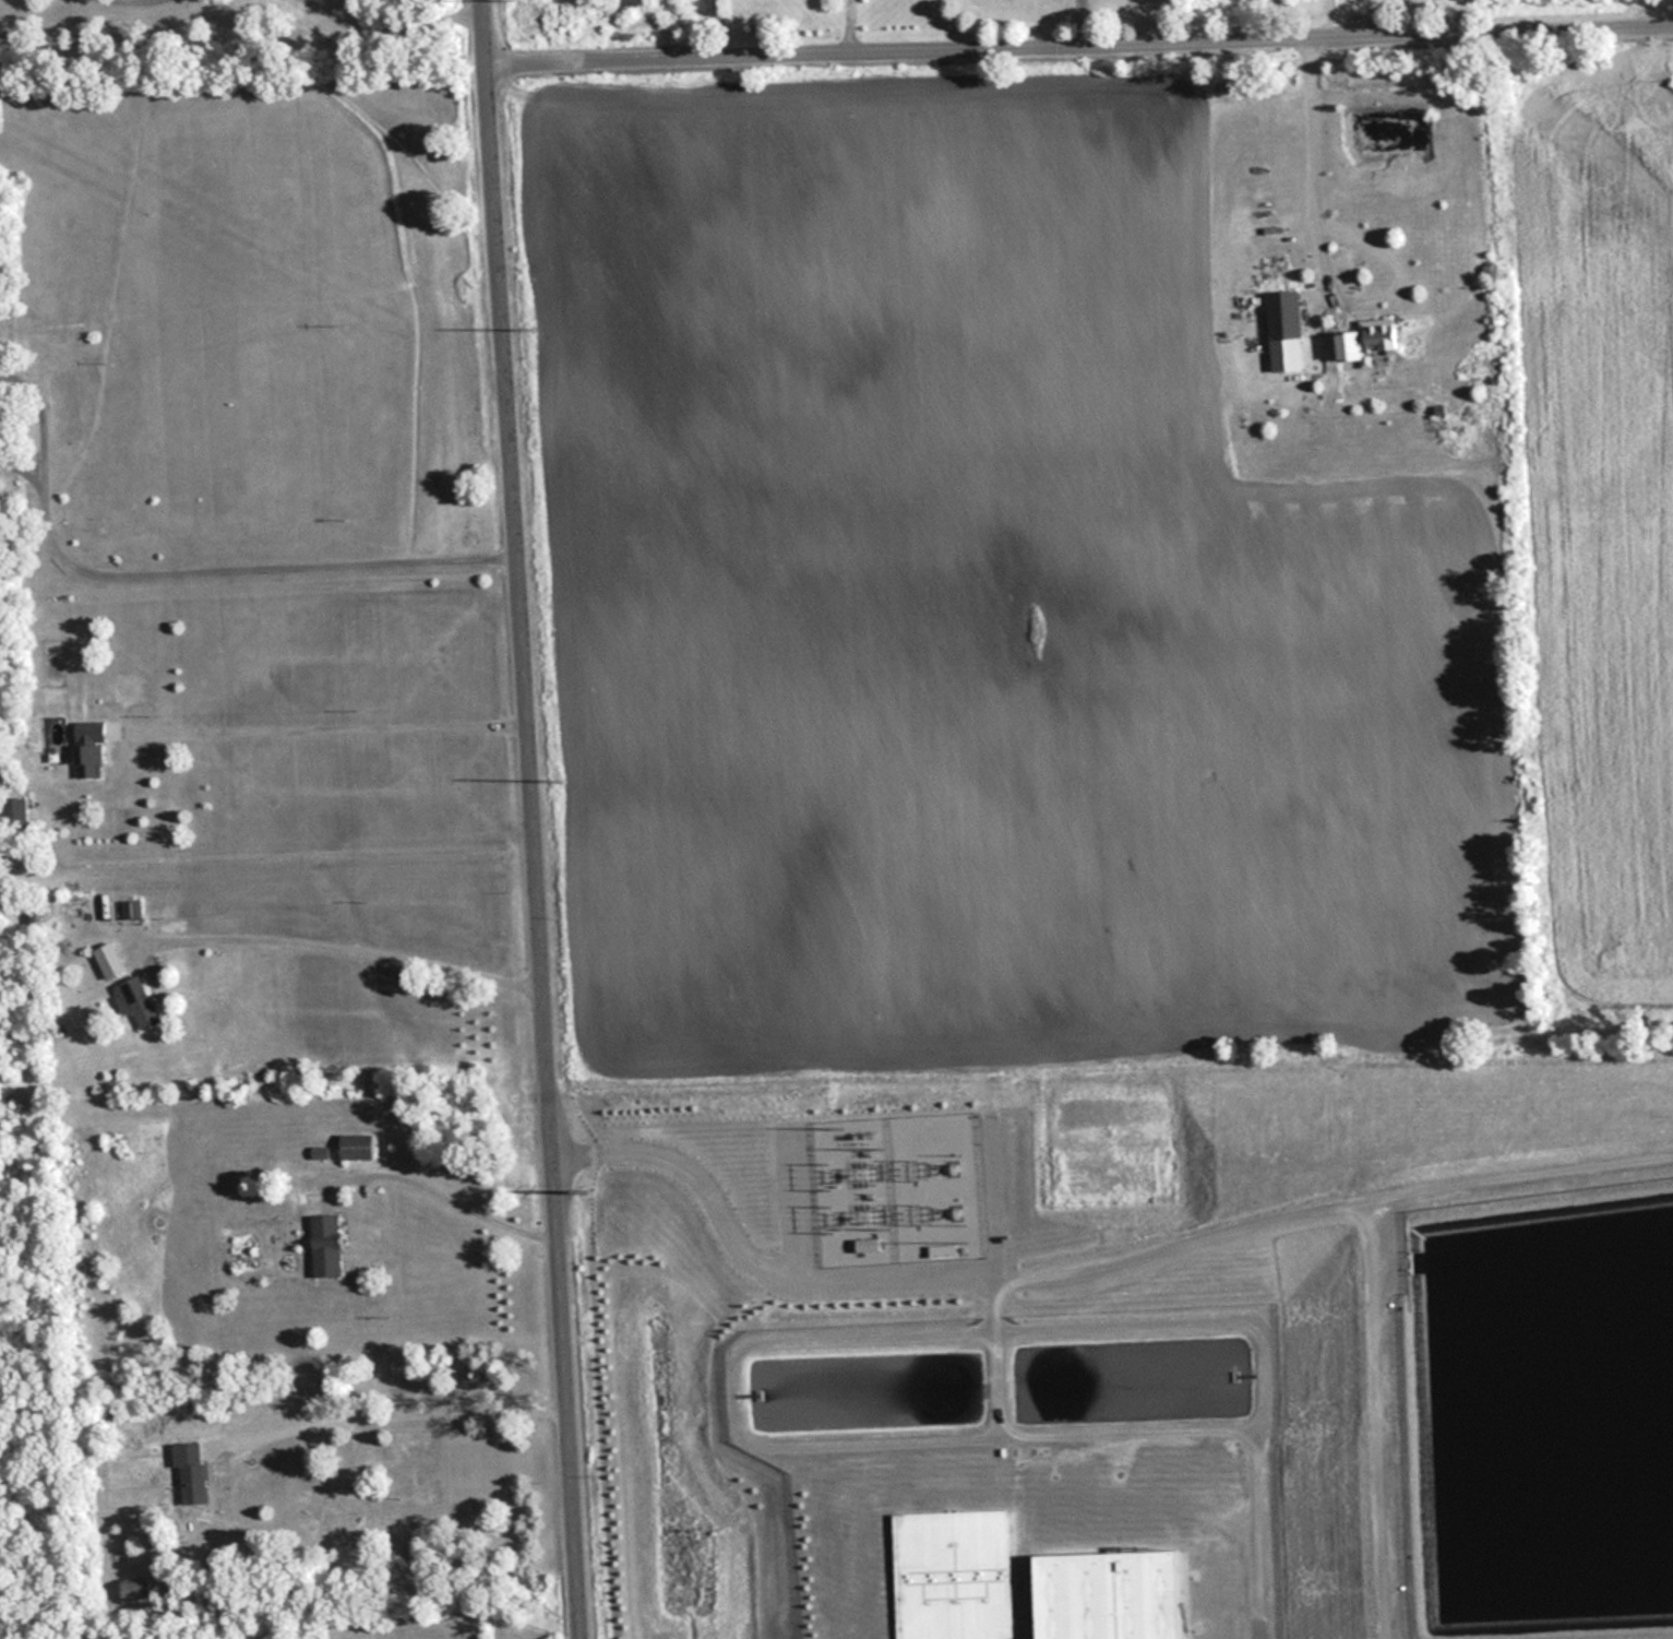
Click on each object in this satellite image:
road: (1651, 5)
road: (1359, 12)
road: (1269, 14)
road: (1079, 35)
road: (1315, 161)
building: (1284, 314)
building: (1367, 337)
road: (249, 563)
road: (314, 723)
building: (89, 760)
road: (536, 819)
building: (131, 910)
road: (340, 946)
building: (134, 1000)
building: (356, 1143)
power substation: (896, 1187)
road: (442, 1193)
building: (194, 1211)
building: (325, 1246)
wastewater plant: (1143, 1346)
road: (386, 1408)
building: (189, 1464)
building: (948, 1570)
power substation: (1114, 1585)
building: (135, 1591)

